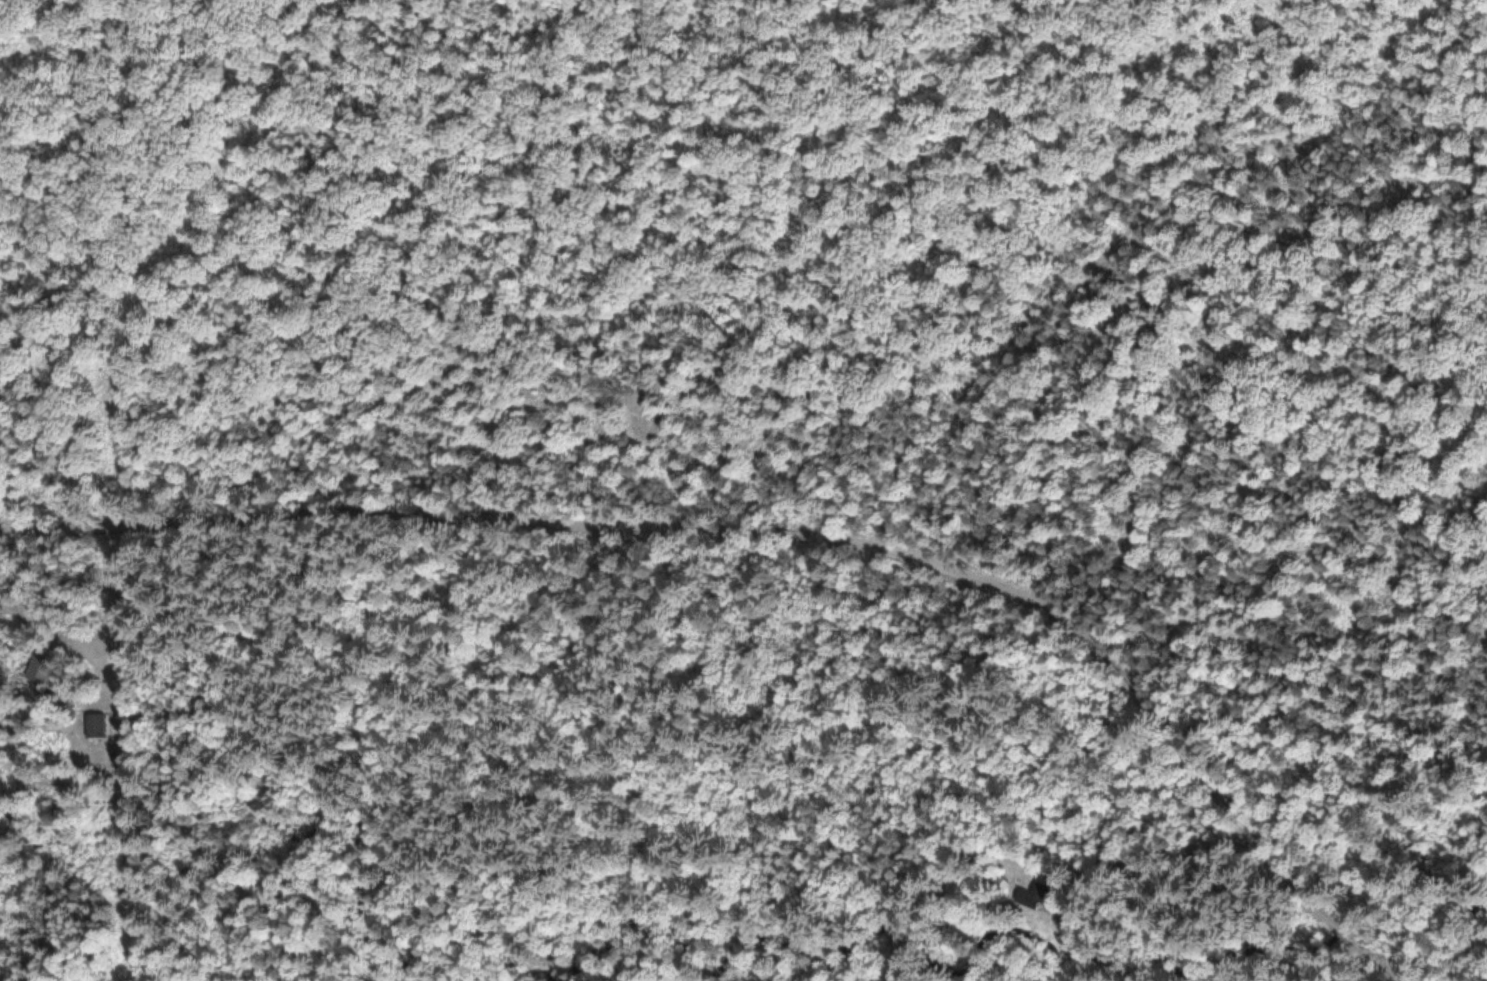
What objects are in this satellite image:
road: (1303, 242)
road: (181, 243)
road: (1173, 314)
road: (742, 530)
building: (46, 662)
building: (99, 724)
building: (1006, 881)
building: (962, 886)
building: (1042, 893)
road: (1349, 933)
road: (1387, 962)

